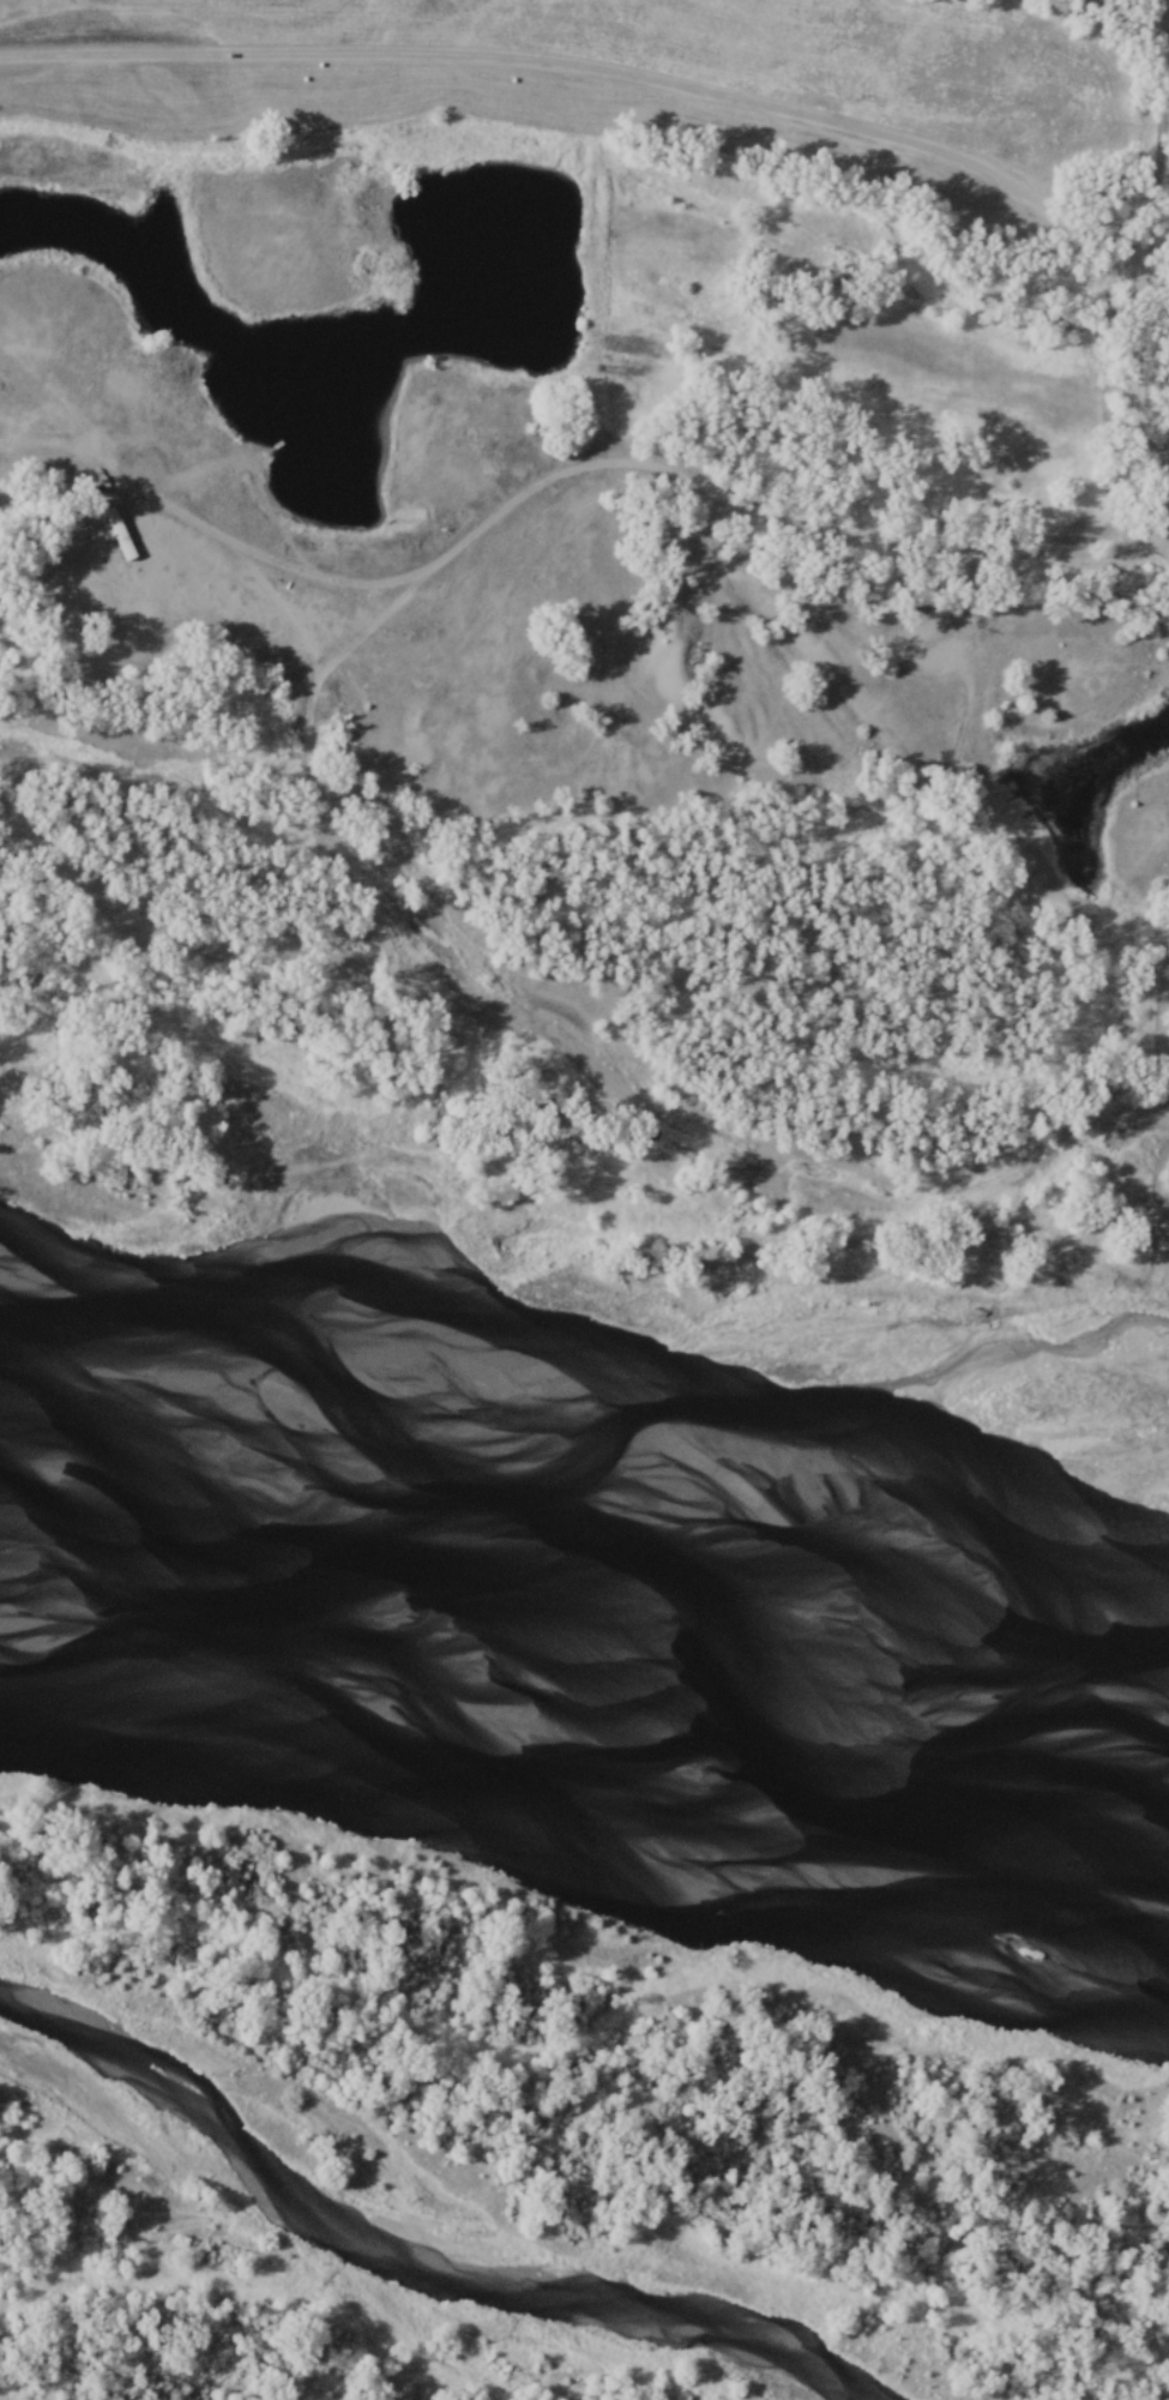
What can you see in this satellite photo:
road: (592, 72)
road: (1145, 227)
road: (627, 468)
building: (123, 535)
river: (586, 1560)

